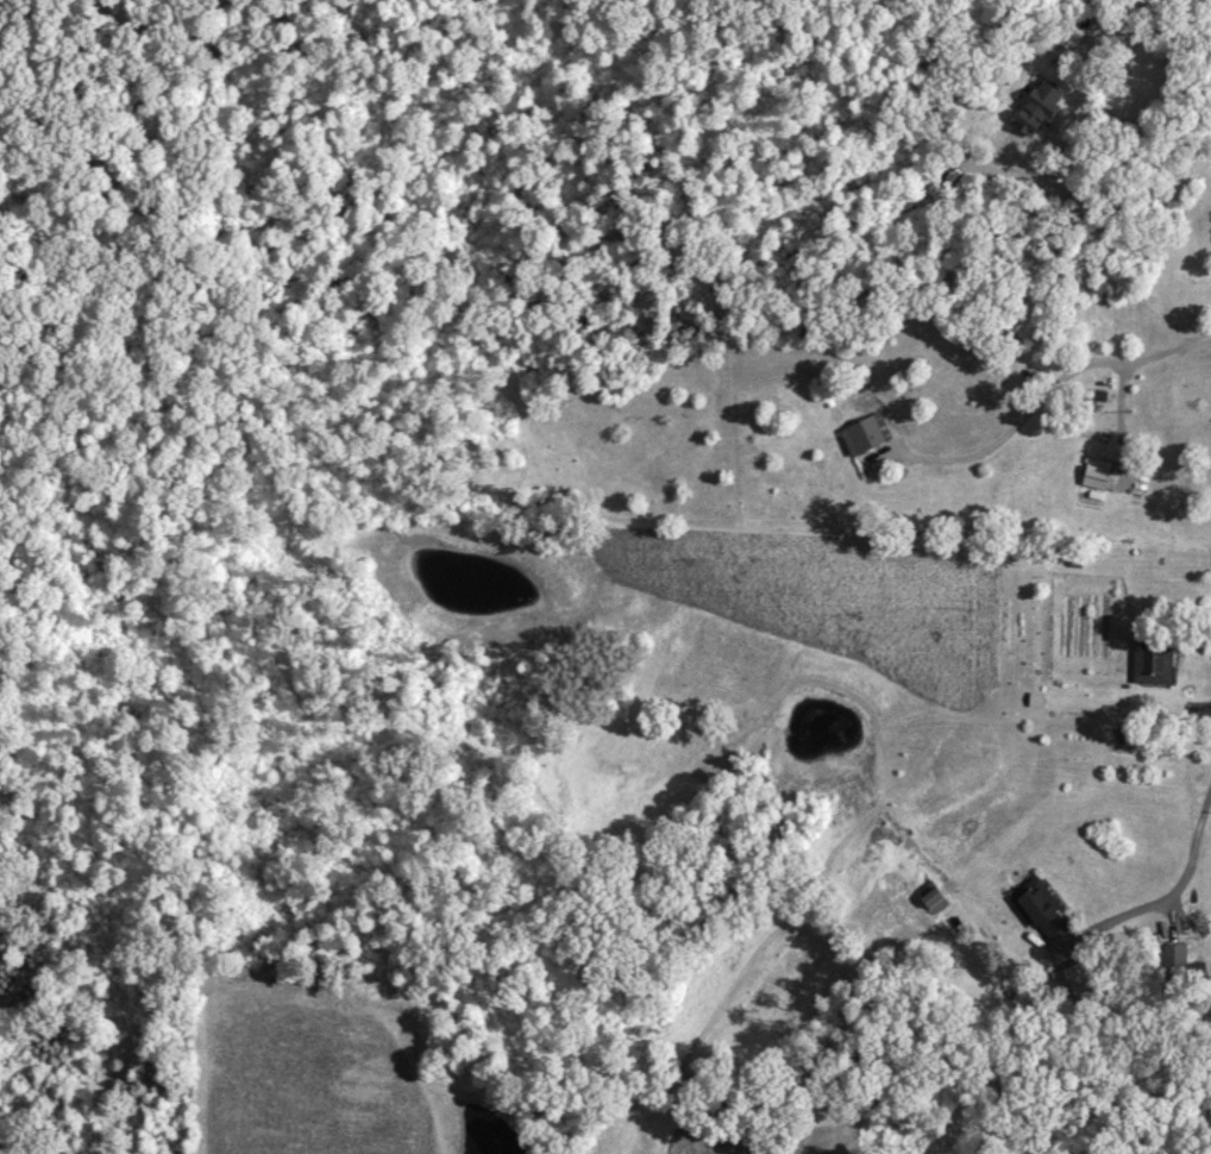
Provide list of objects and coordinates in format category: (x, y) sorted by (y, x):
road: (1044, 390)
building: (859, 434)
building: (1091, 472)
building: (1148, 658)
building: (1036, 698)
road: (1180, 873)
building: (934, 895)
building: (1041, 915)

